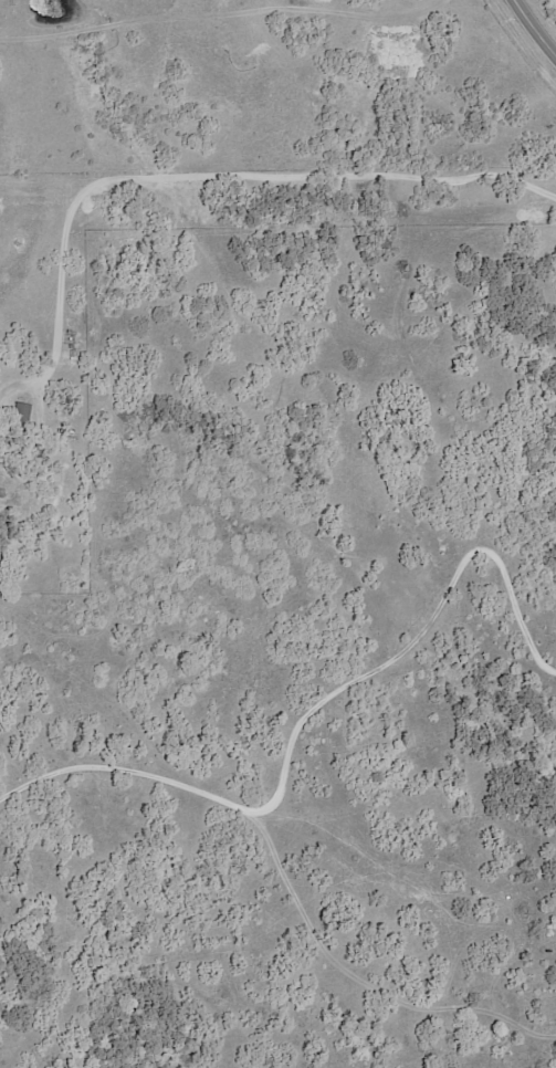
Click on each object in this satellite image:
road: (537, 24)
road: (221, 176)
building: (20, 415)
building: (72, 429)

